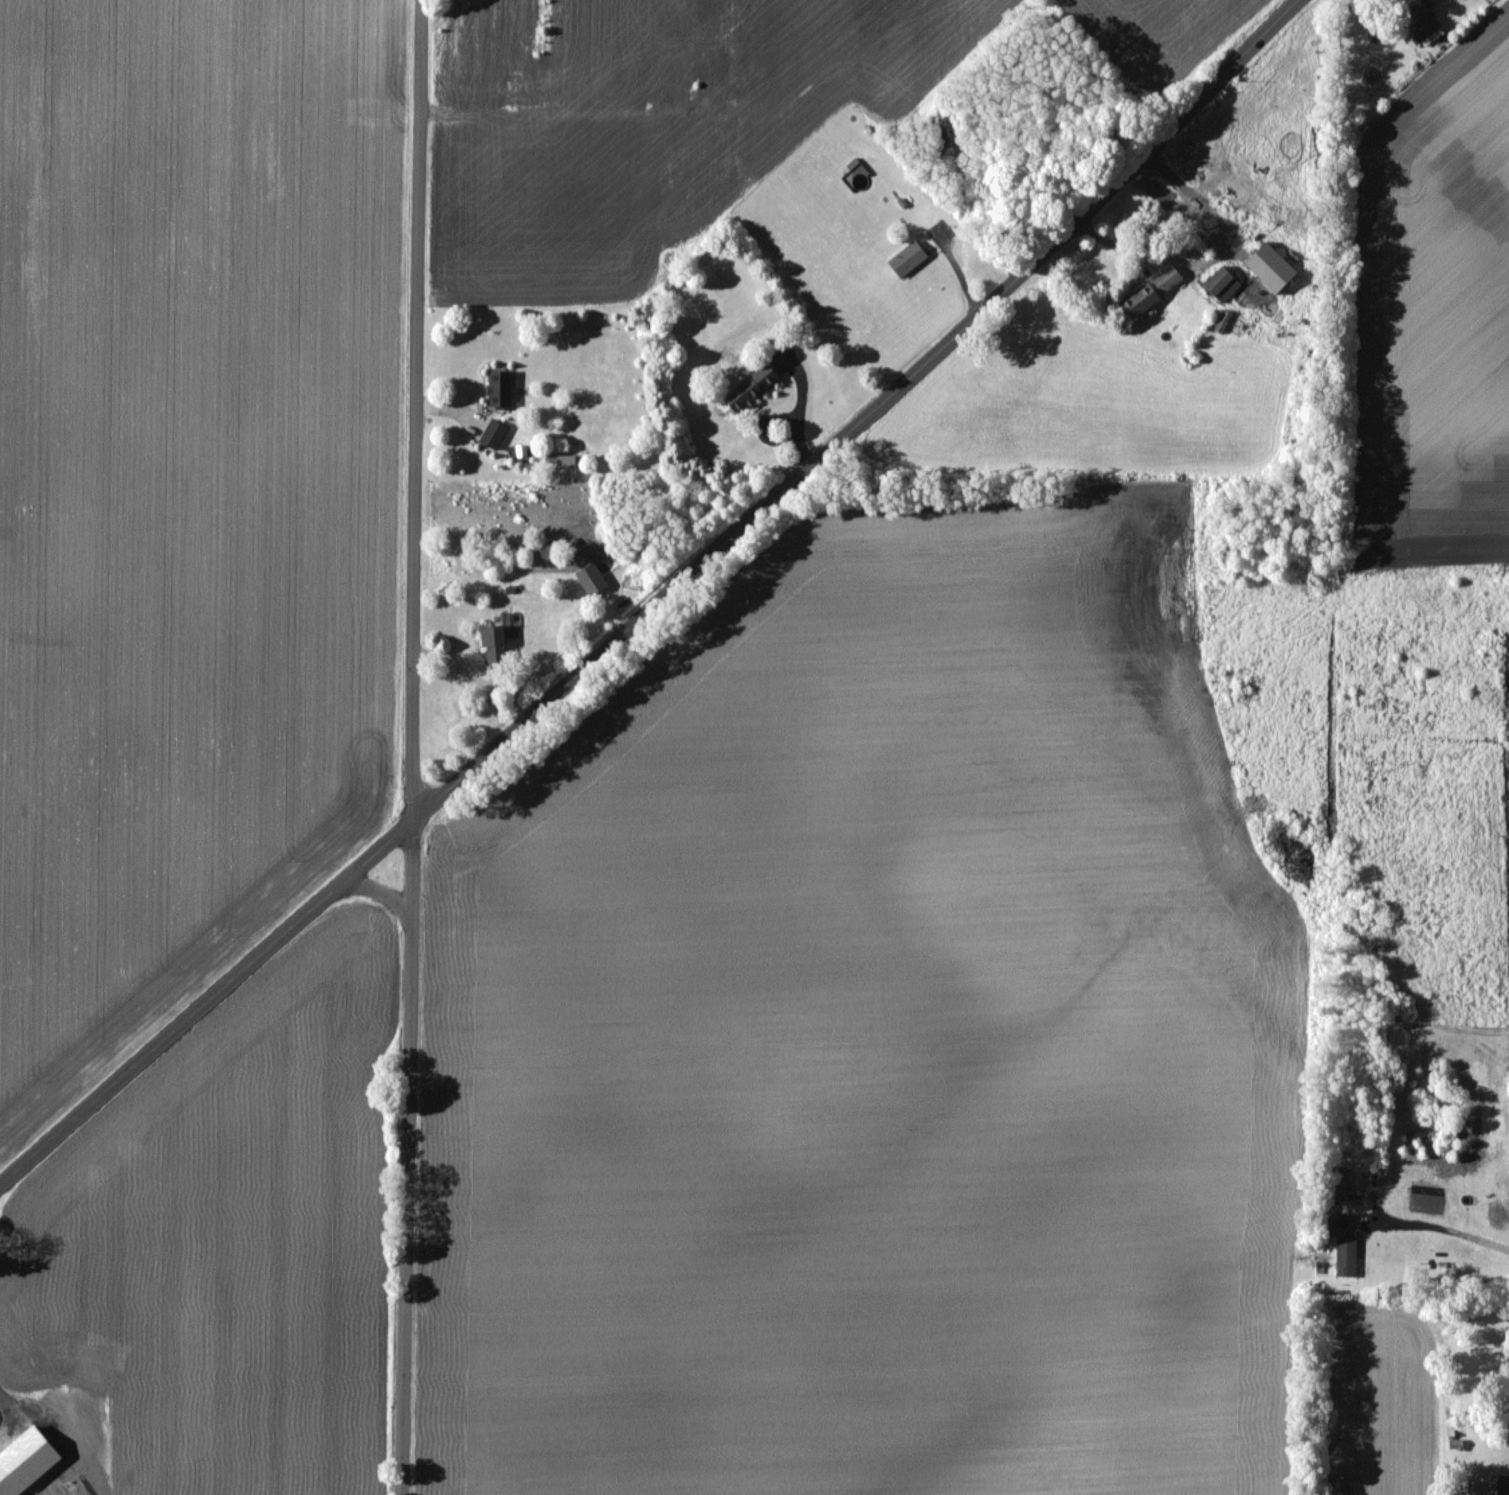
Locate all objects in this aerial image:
building: (1426, 30)
building: (951, 143)
building: (907, 259)
building: (1270, 268)
building: (1166, 279)
building: (1221, 285)
building: (1139, 301)
building: (750, 388)
building: (500, 389)
road: (415, 410)
road: (798, 411)
road: (862, 419)
building: (492, 435)
building: (591, 580)
building: (493, 644)
road: (372, 855)
road: (411, 872)
road: (378, 891)
road: (167, 1038)
building: (1337, 1183)
road: (406, 1209)
building: (1335, 1225)
road: (1455, 1228)
building: (1346, 1259)
building: (1482, 1488)

